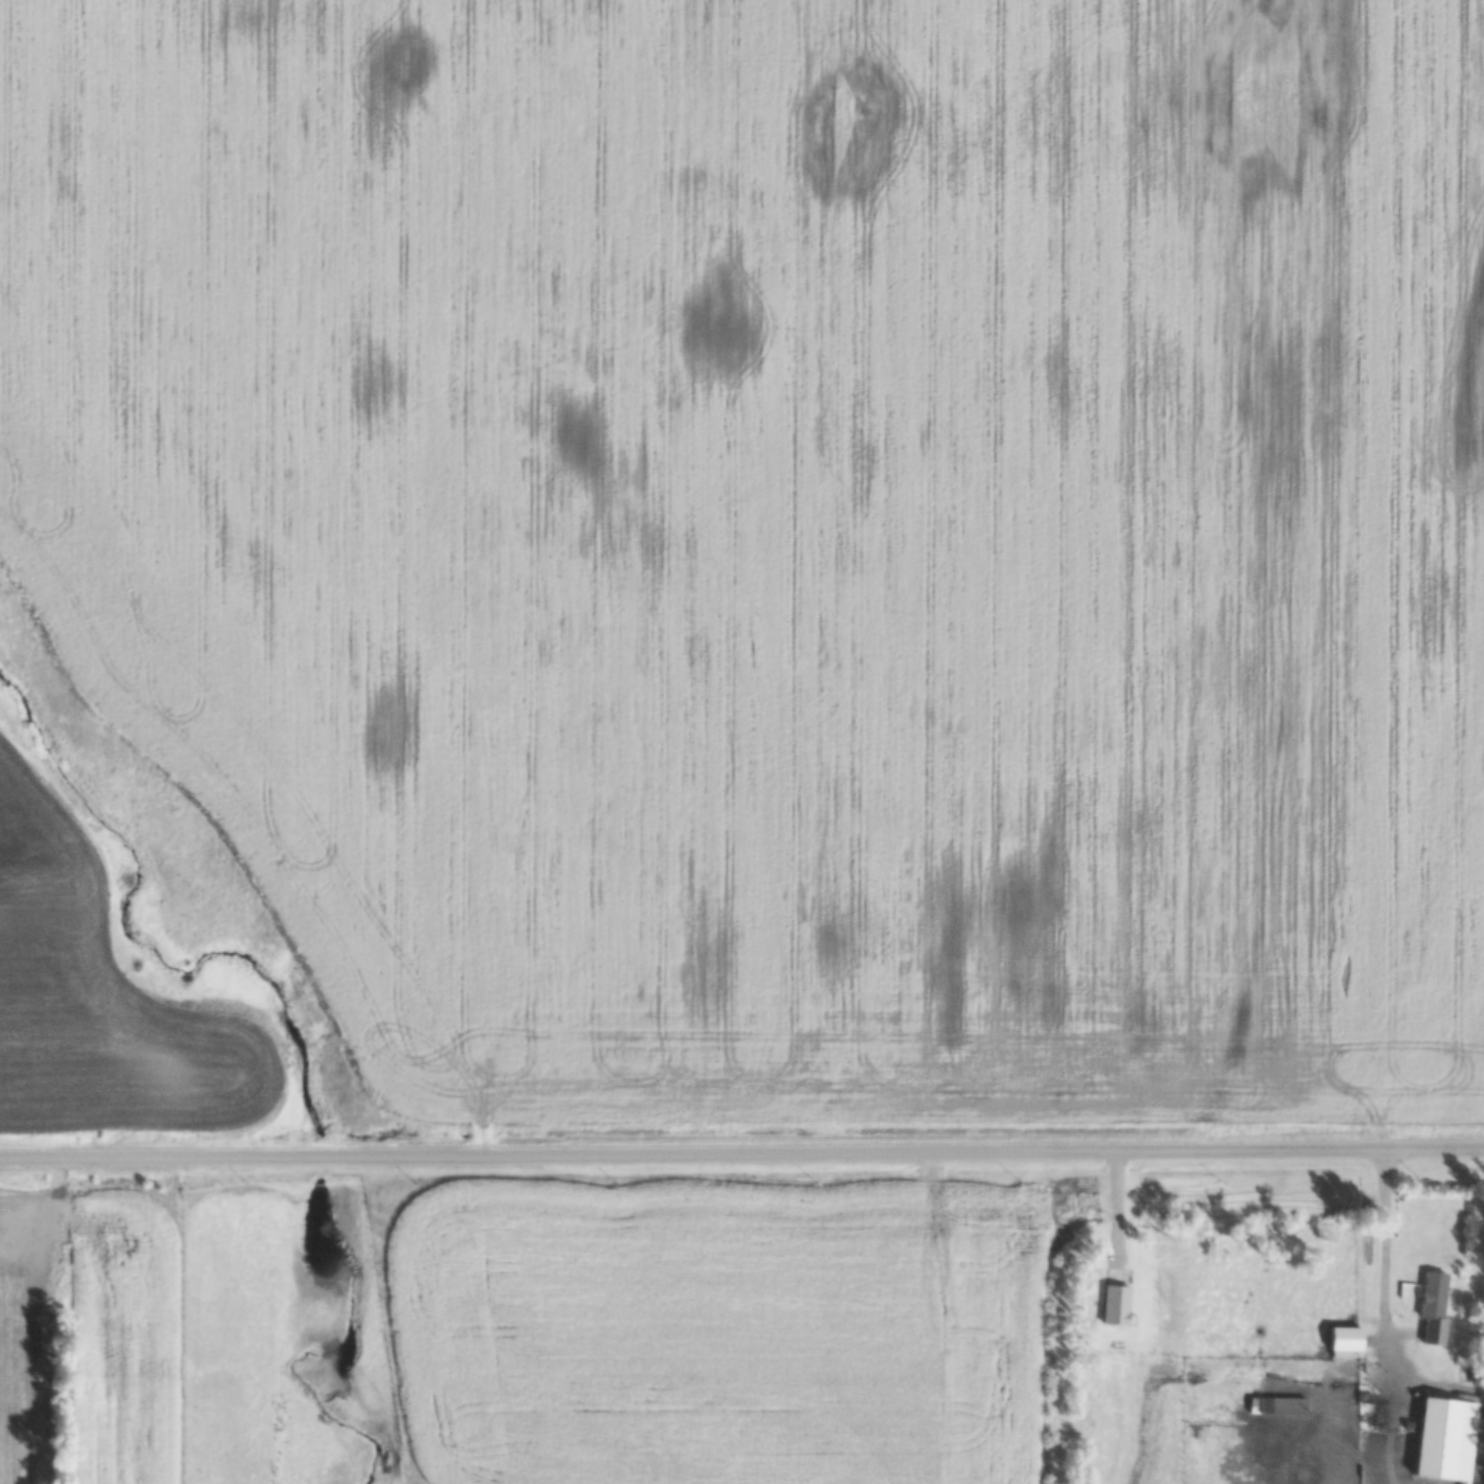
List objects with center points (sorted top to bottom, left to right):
road: (742, 1152)
road: (1115, 1207)
road: (1387, 1271)
building: (1432, 1307)
building: (1275, 1405)
building: (1442, 1439)

